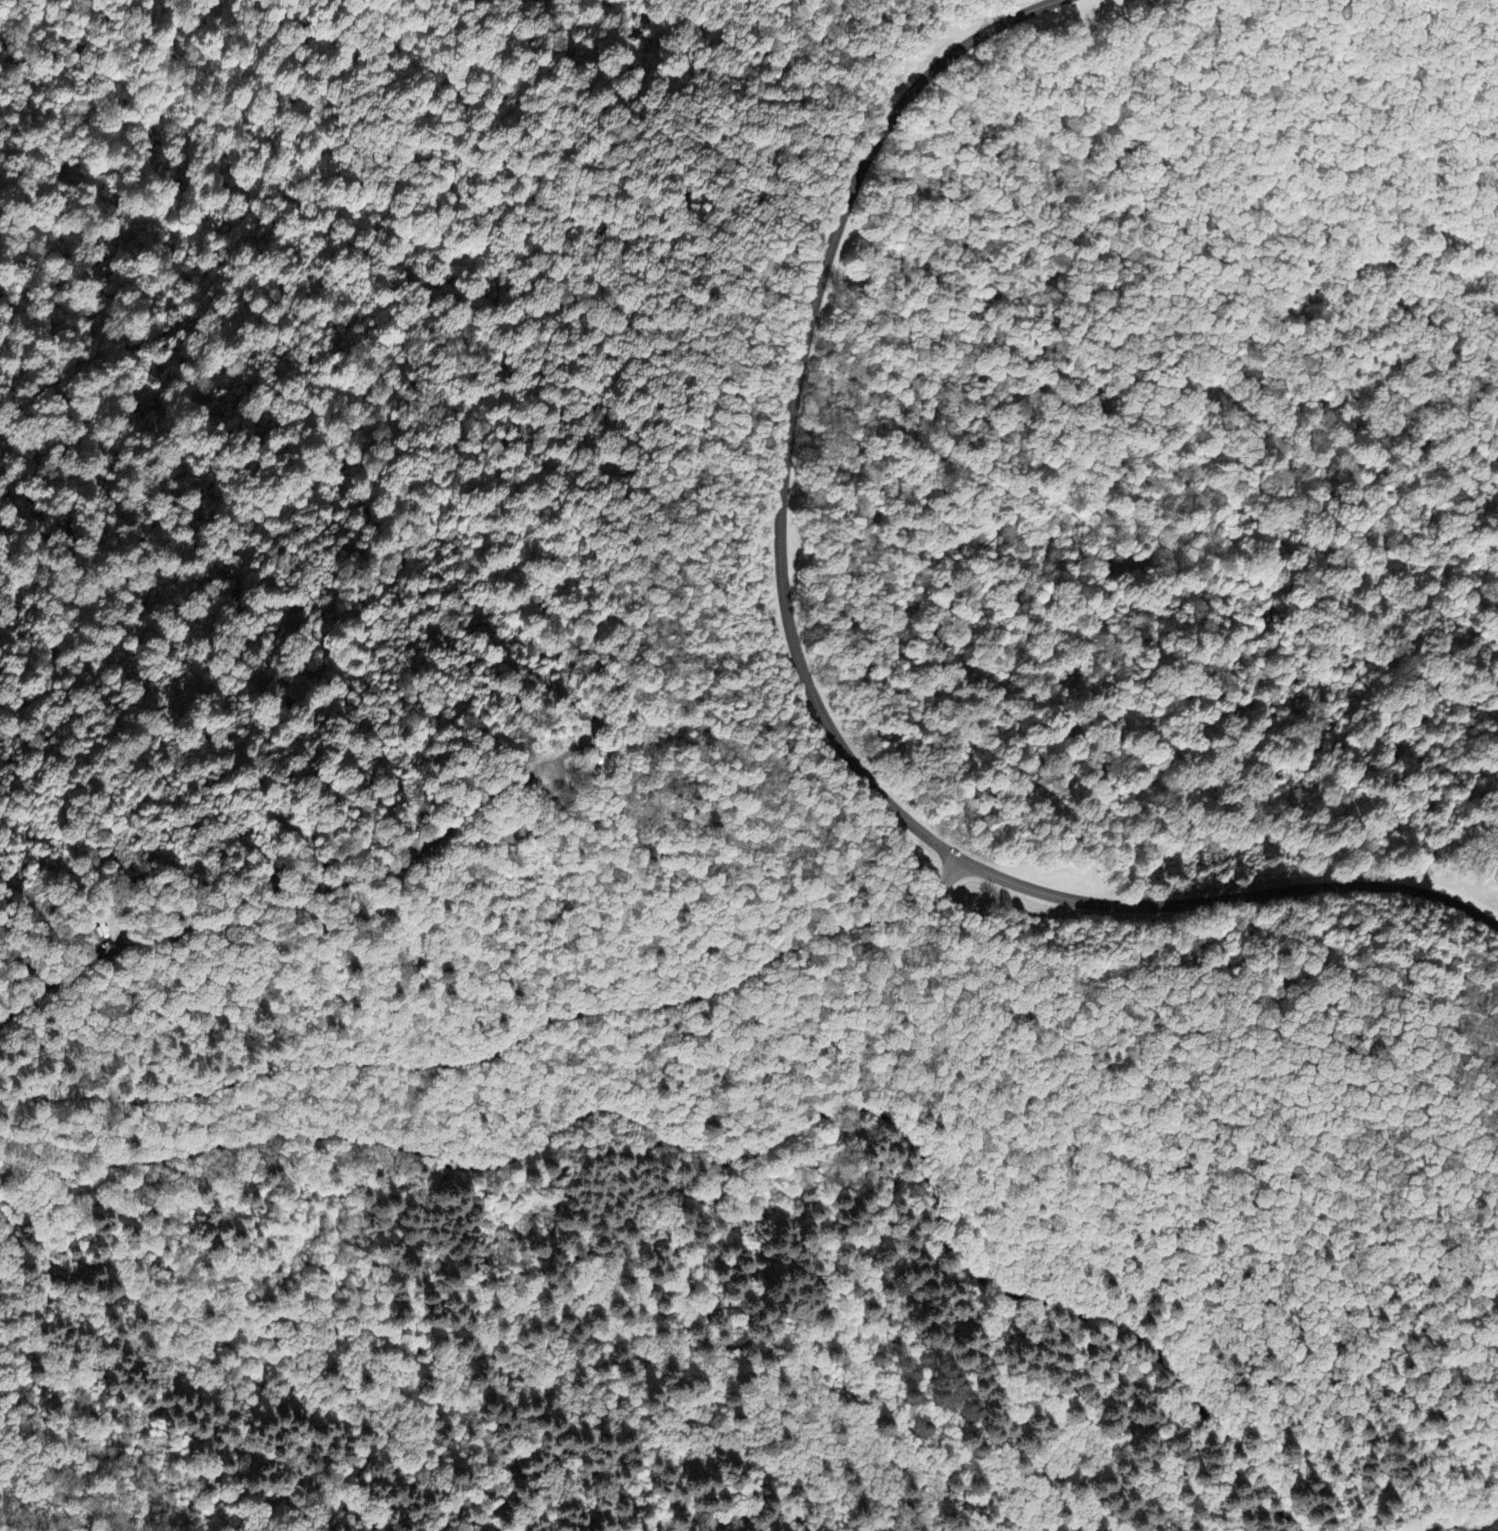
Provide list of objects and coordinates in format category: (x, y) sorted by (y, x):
road: (808, 679)
road: (504, 1047)
road: (740, 1157)
road: (1443, 1524)

